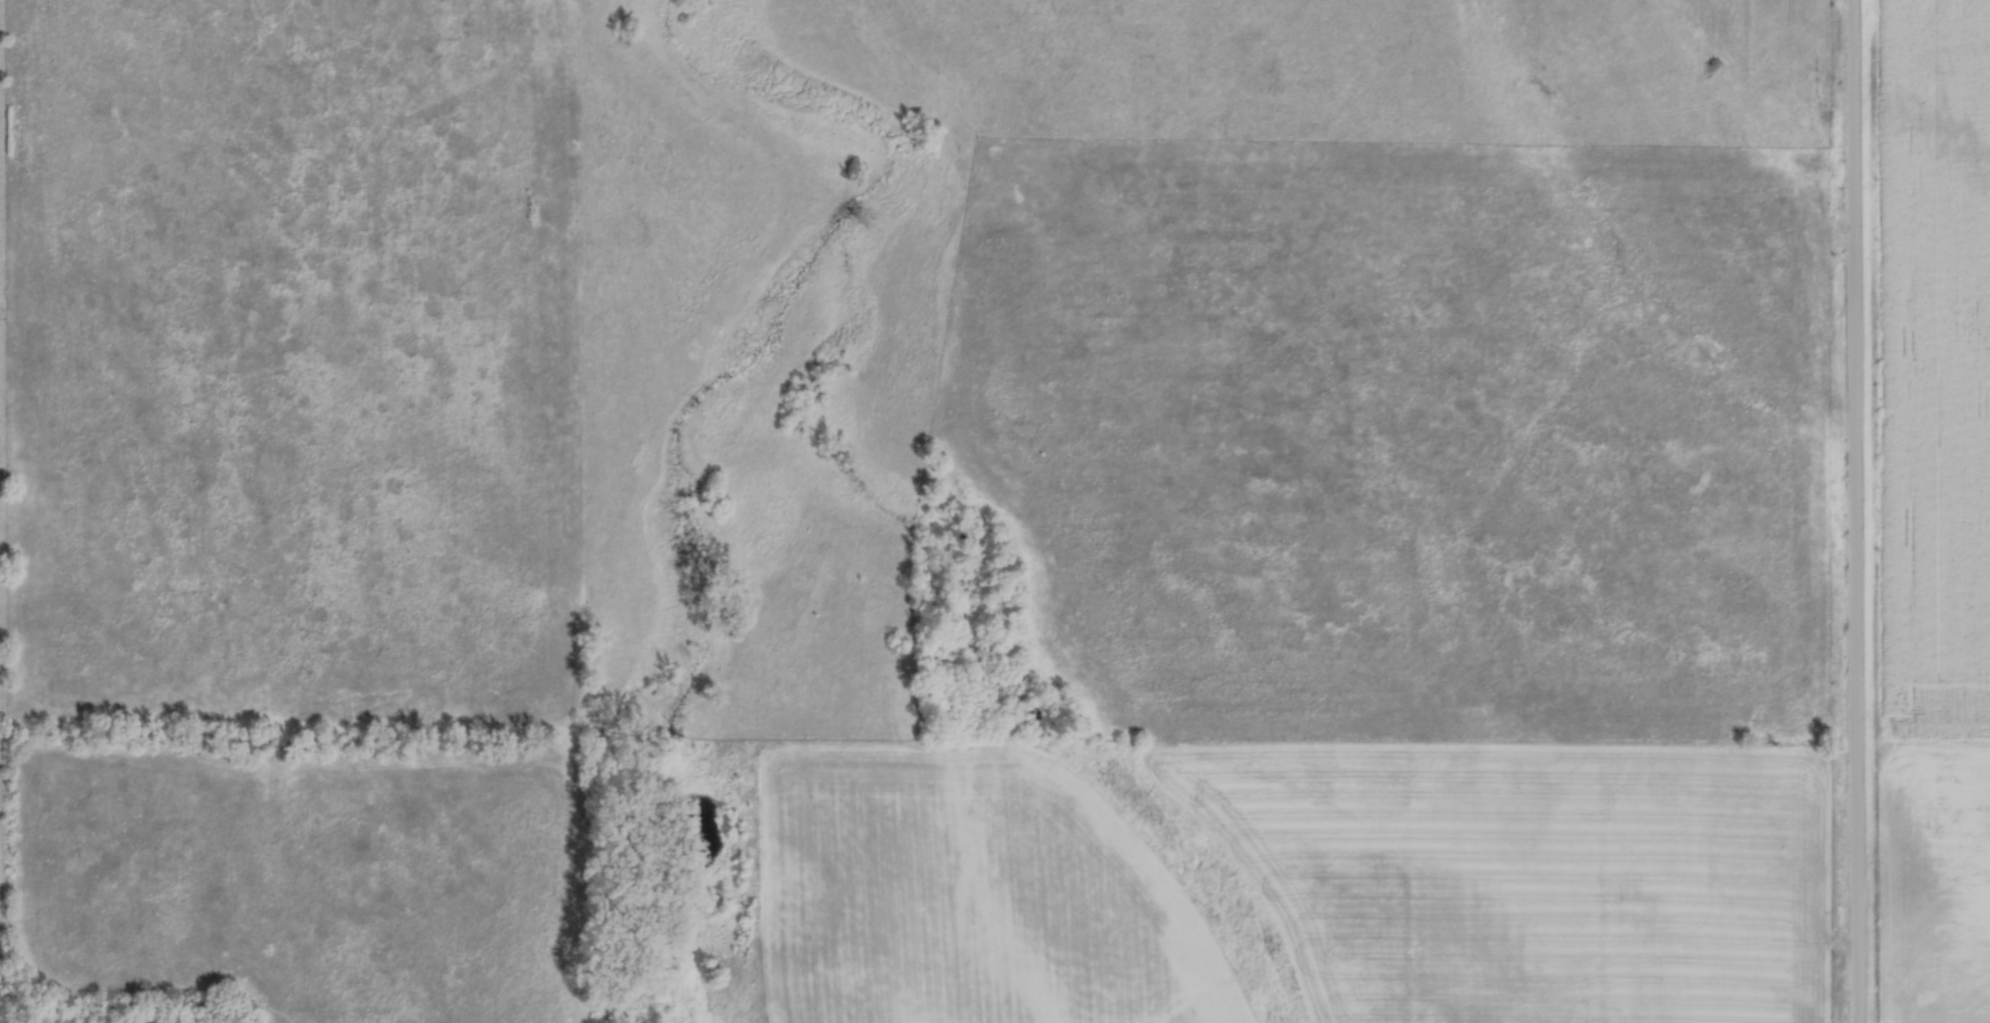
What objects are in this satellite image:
road: (1856, 511)

